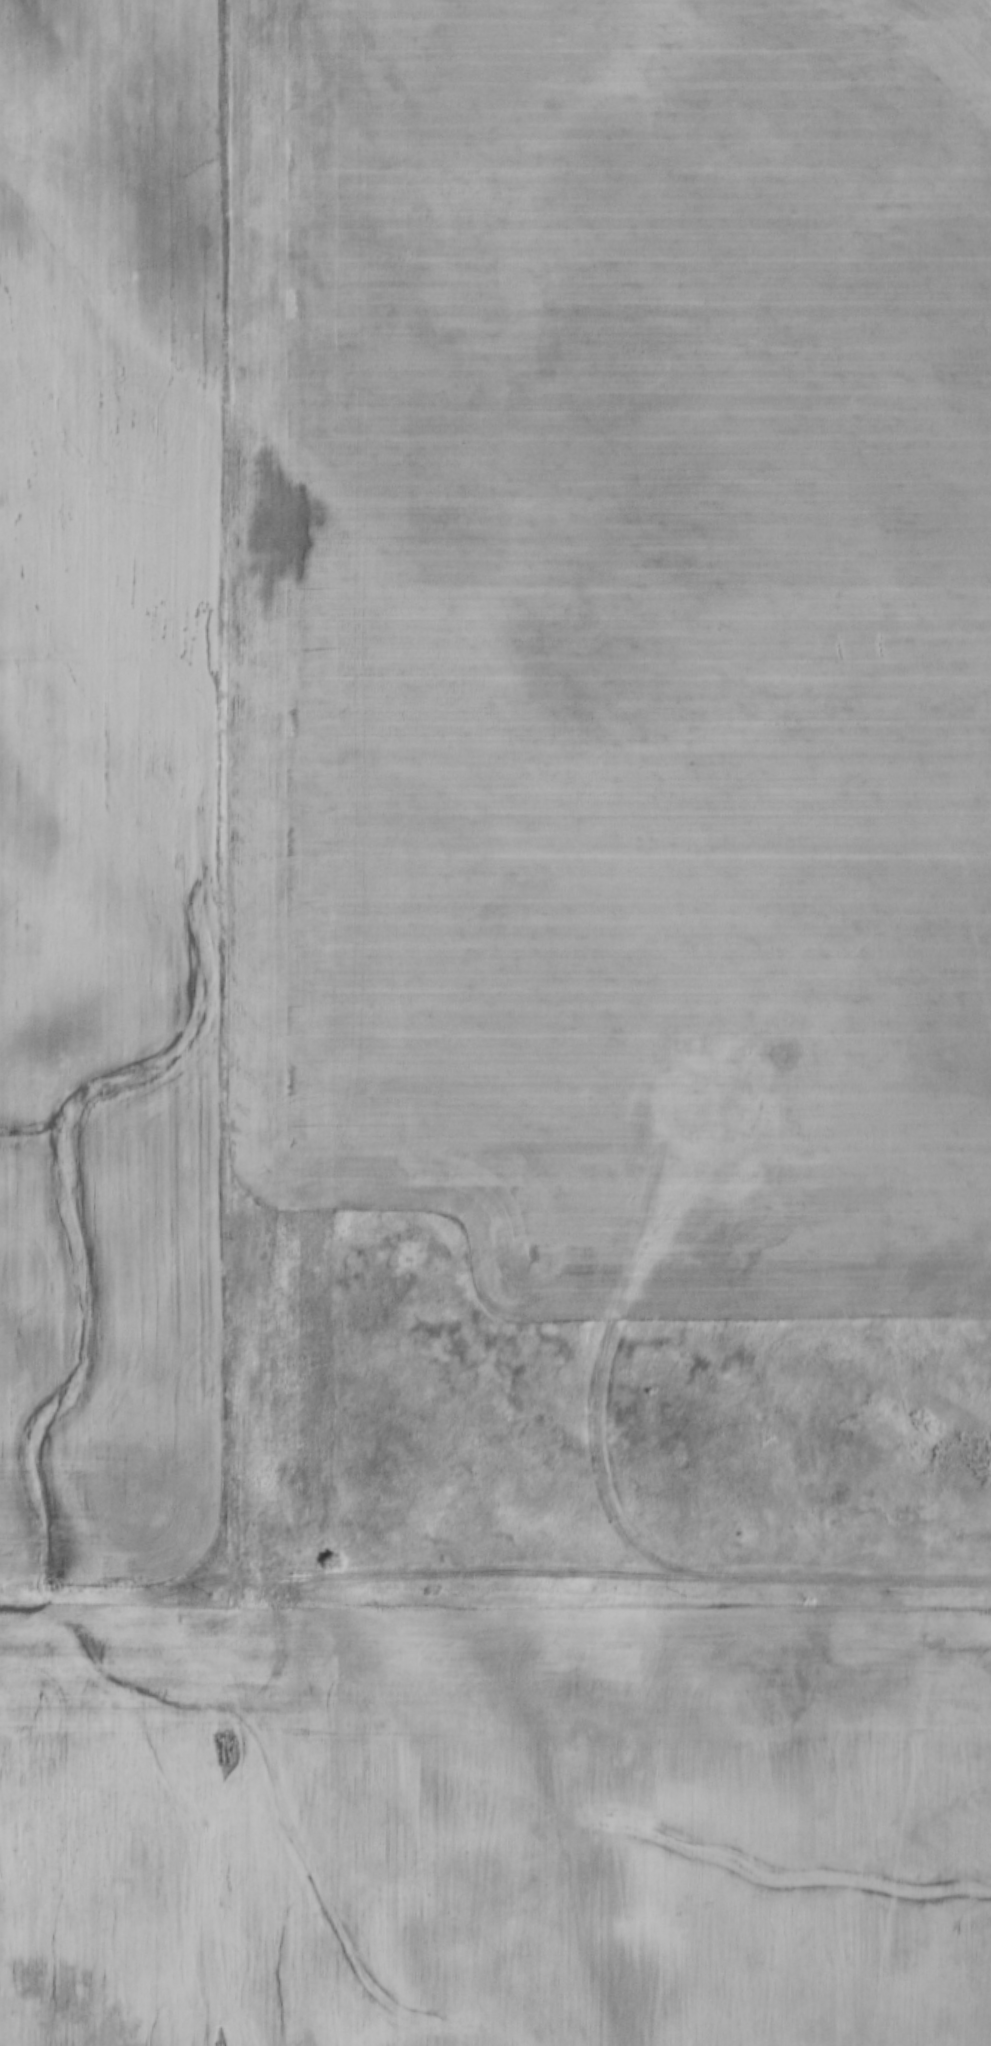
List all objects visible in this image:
road: (607, 1577)

